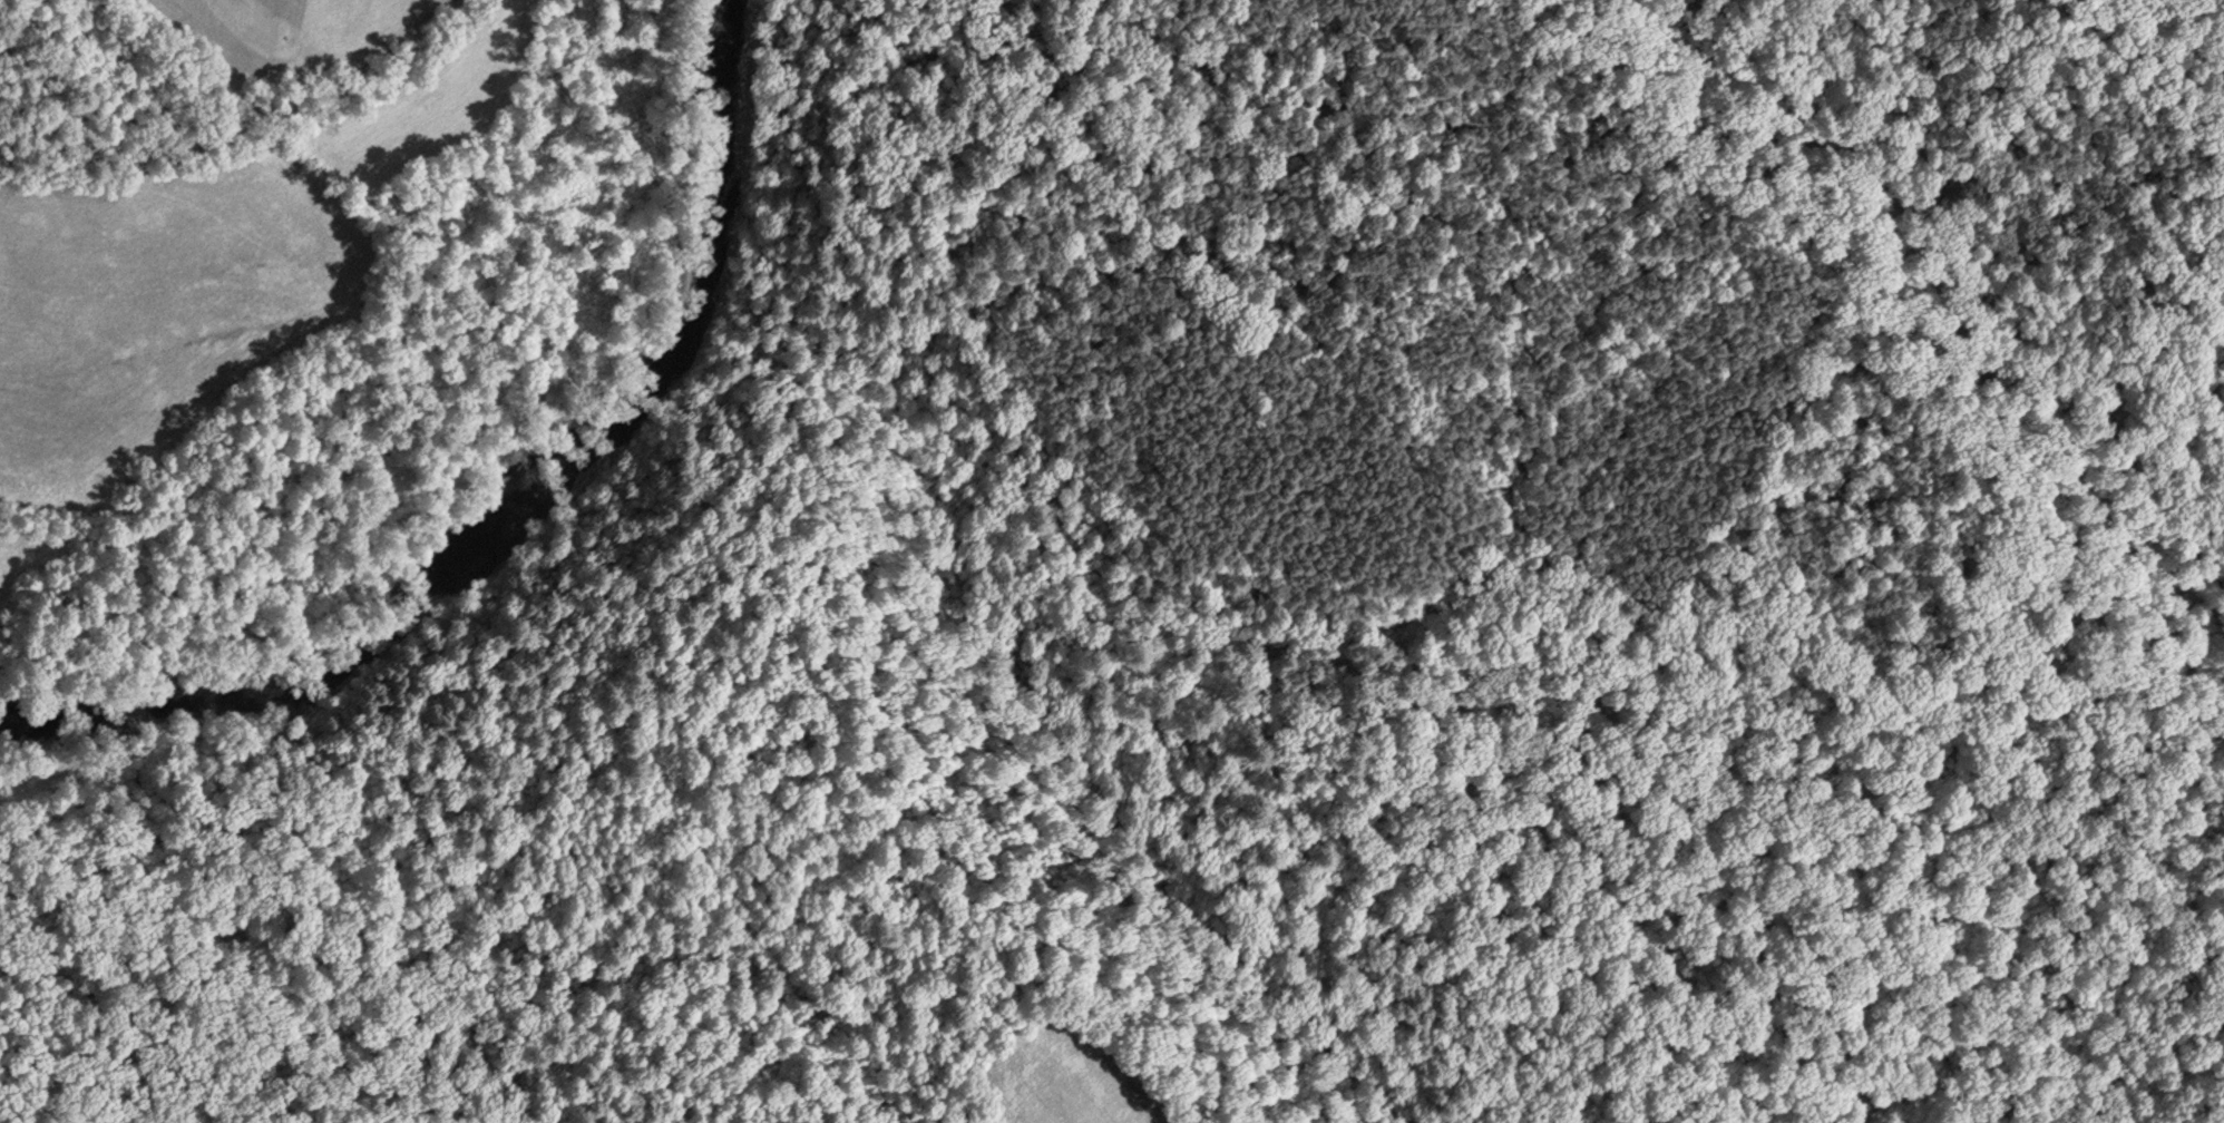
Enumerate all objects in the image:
river: (506, 506)

